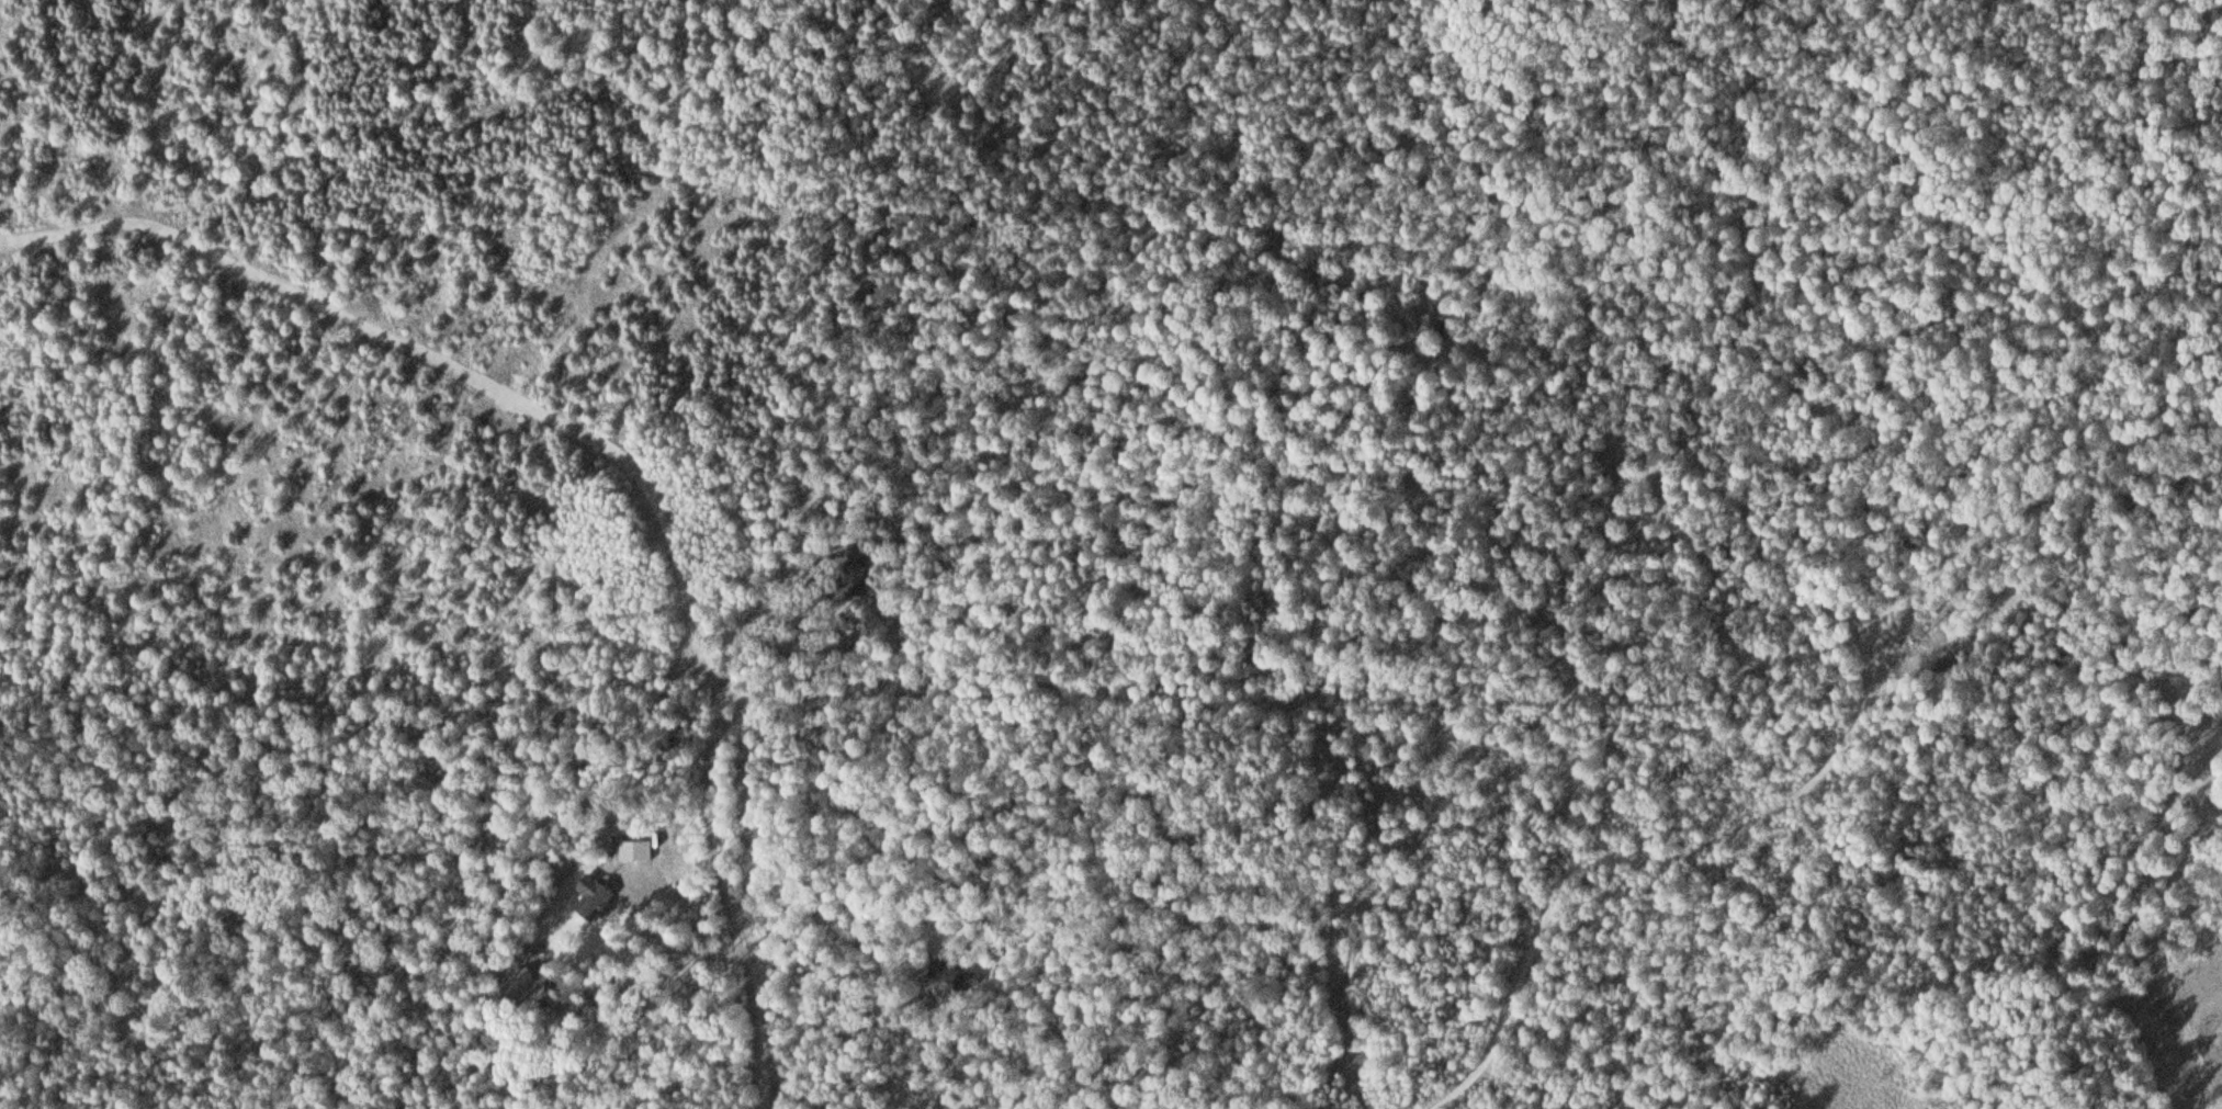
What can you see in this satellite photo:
road: (251, 136)
road: (448, 361)
building: (858, 570)
building: (1948, 656)
road: (1312, 693)
road: (1650, 858)
building: (595, 903)
building: (960, 978)
building: (1344, 983)

